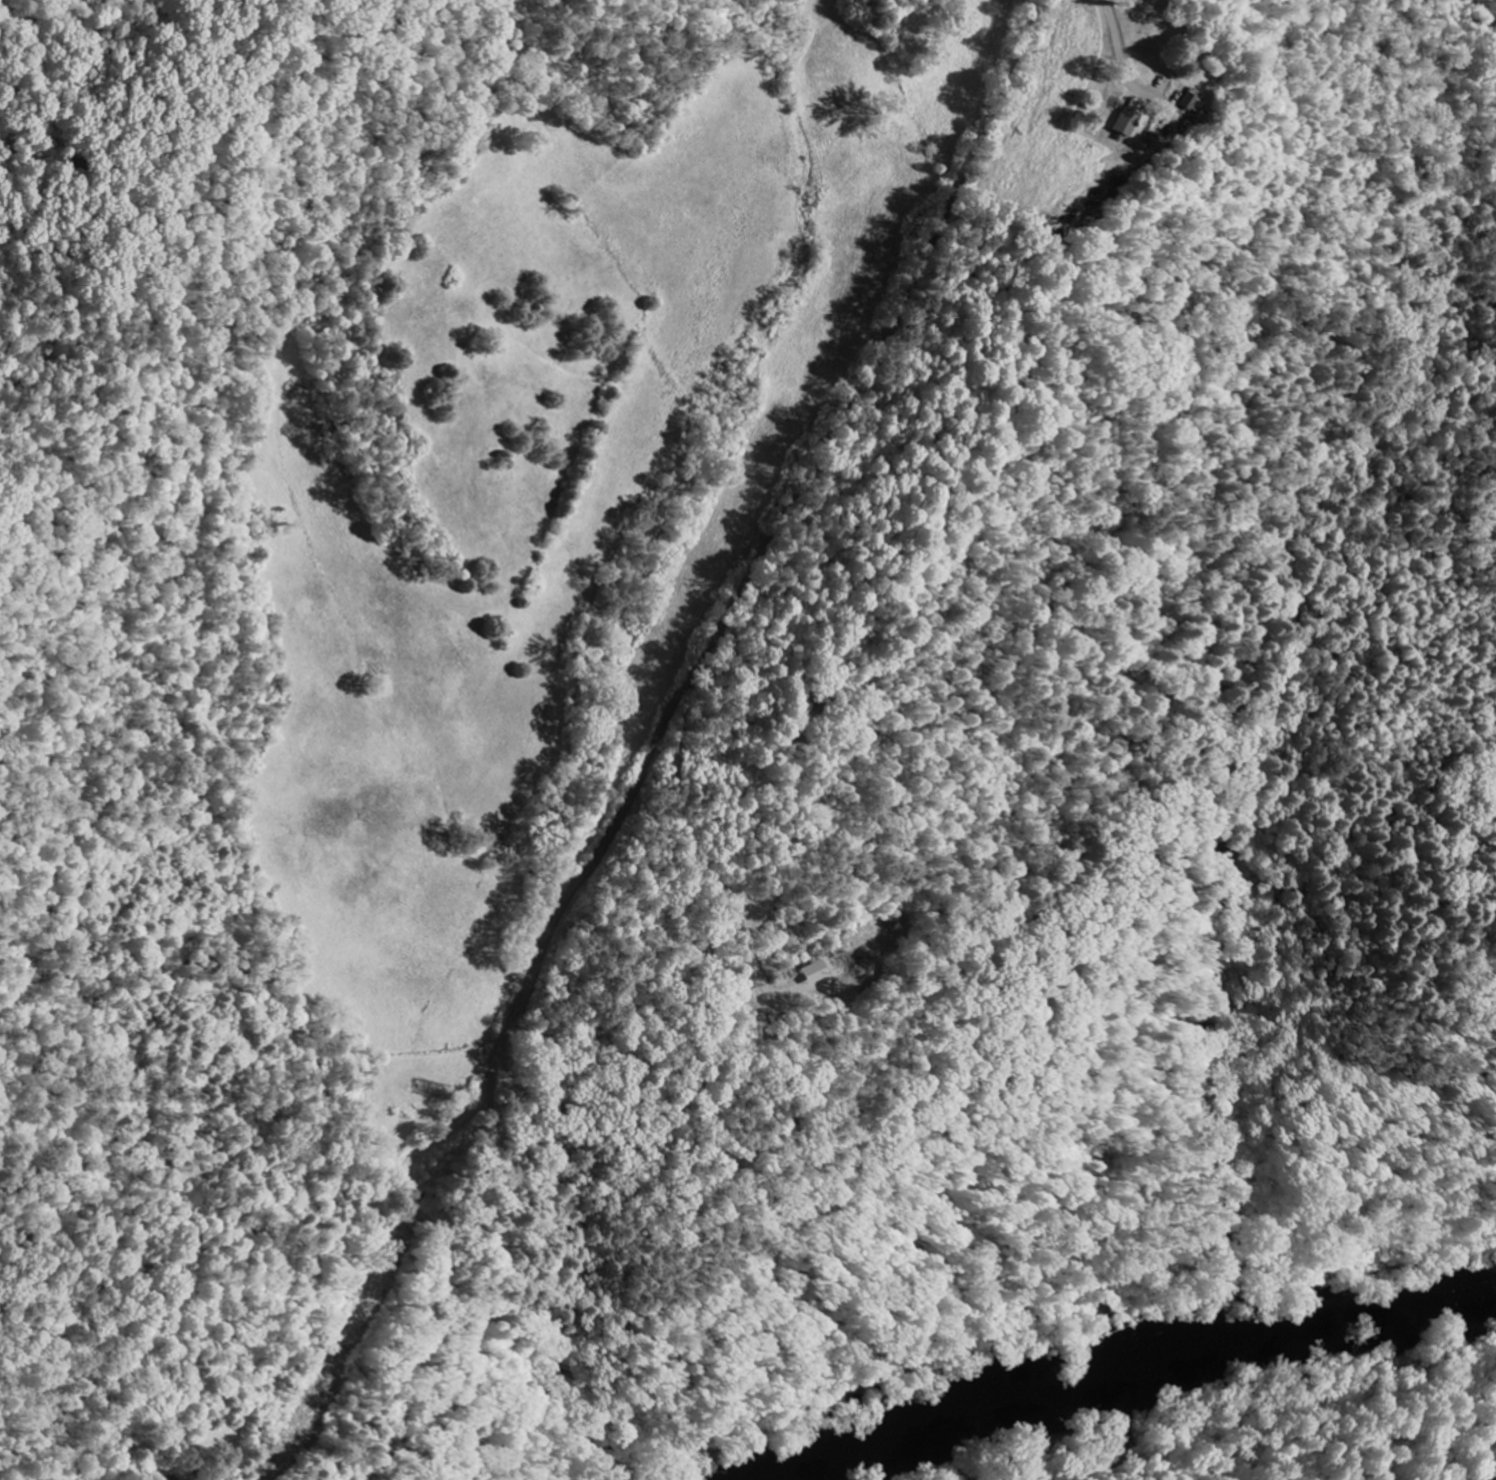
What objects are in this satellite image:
road: (1485, 11)
road: (1123, 69)
building: (1186, 101)
building: (1123, 119)
road: (655, 740)
building: (432, 1086)
river: (1133, 1368)
building: (165, 1479)

